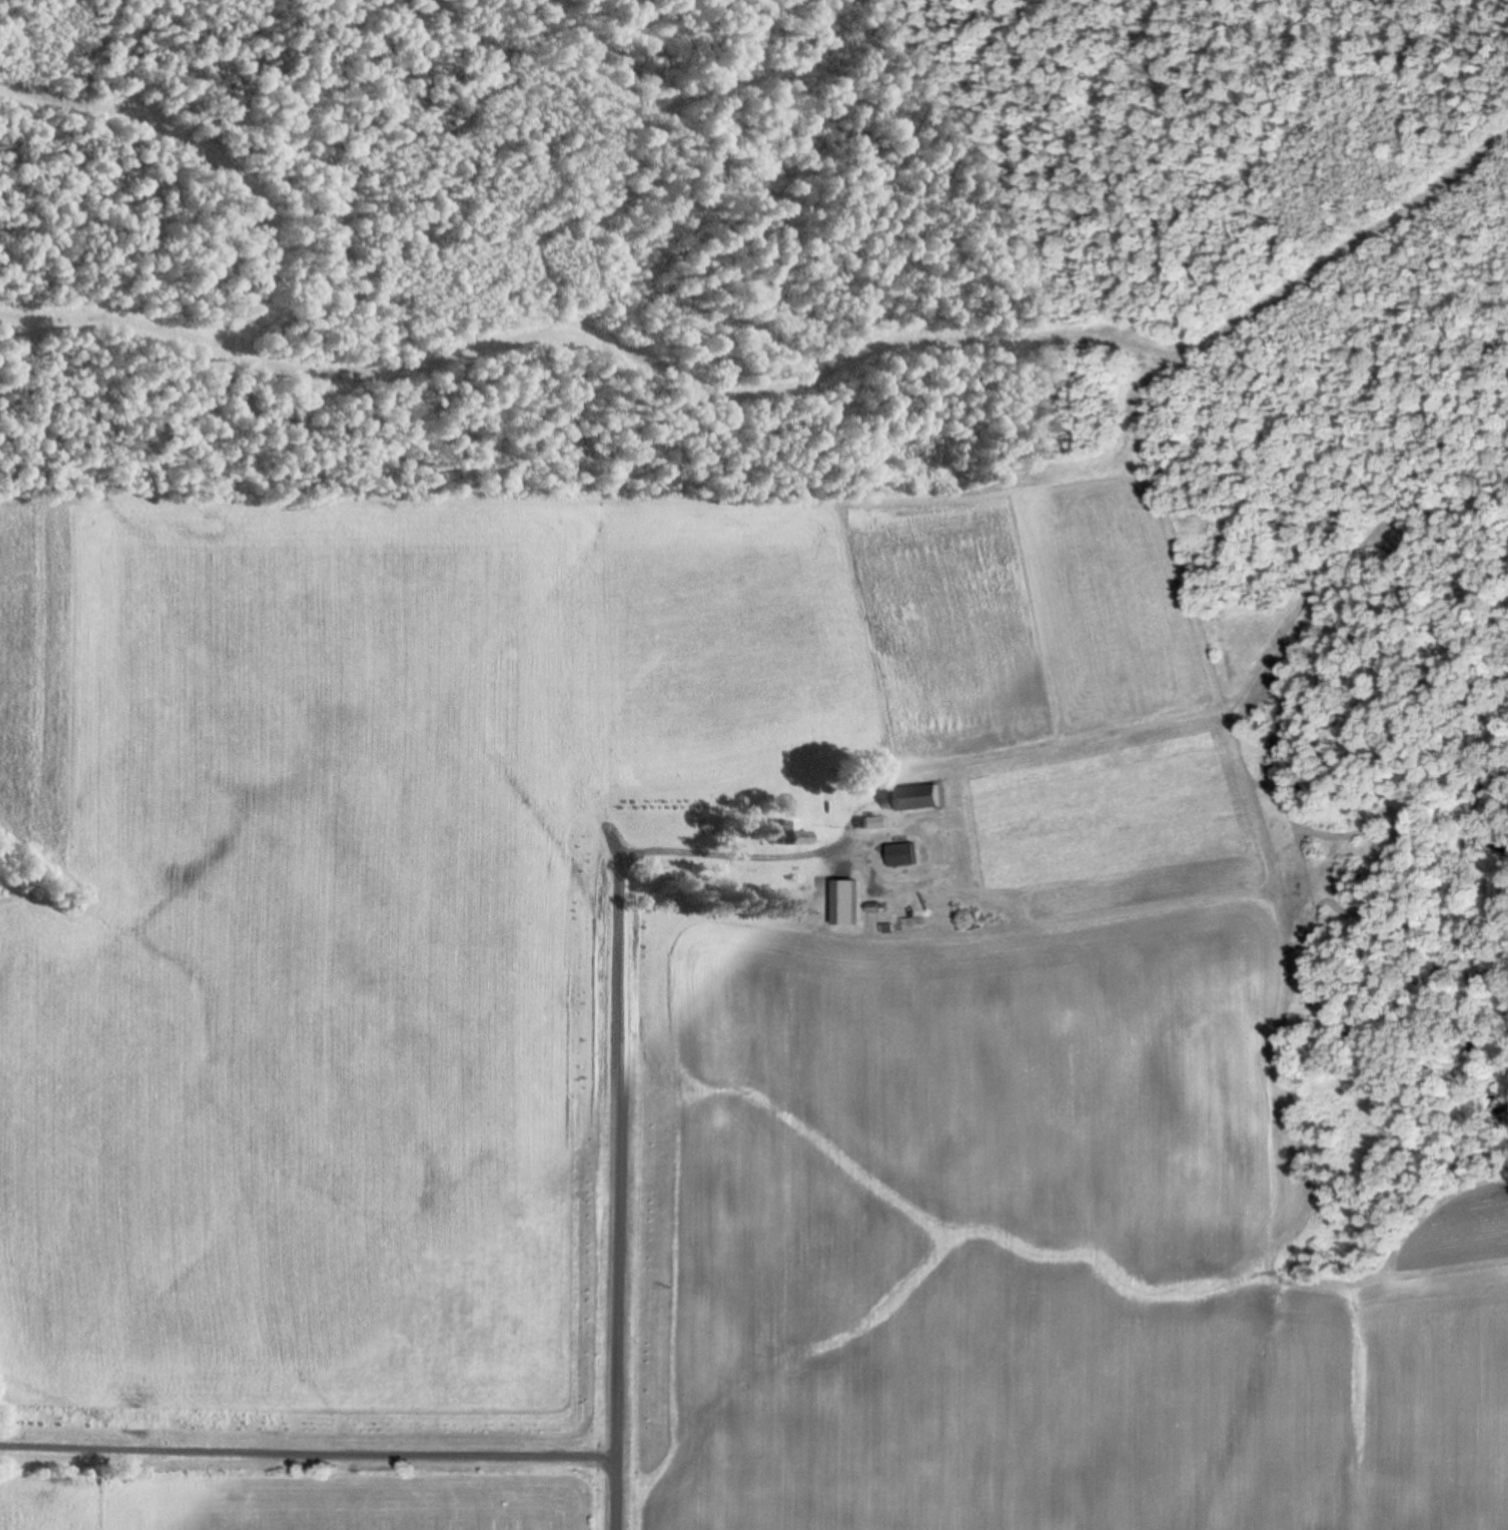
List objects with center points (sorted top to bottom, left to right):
building: (914, 795)
building: (831, 819)
building: (873, 820)
building: (794, 832)
building: (898, 852)
road: (727, 858)
building: (833, 888)
crop: (426, 894)
building: (872, 905)
building: (886, 926)
road: (615, 1198)
crop: (1020, 1246)
road: (307, 1456)

